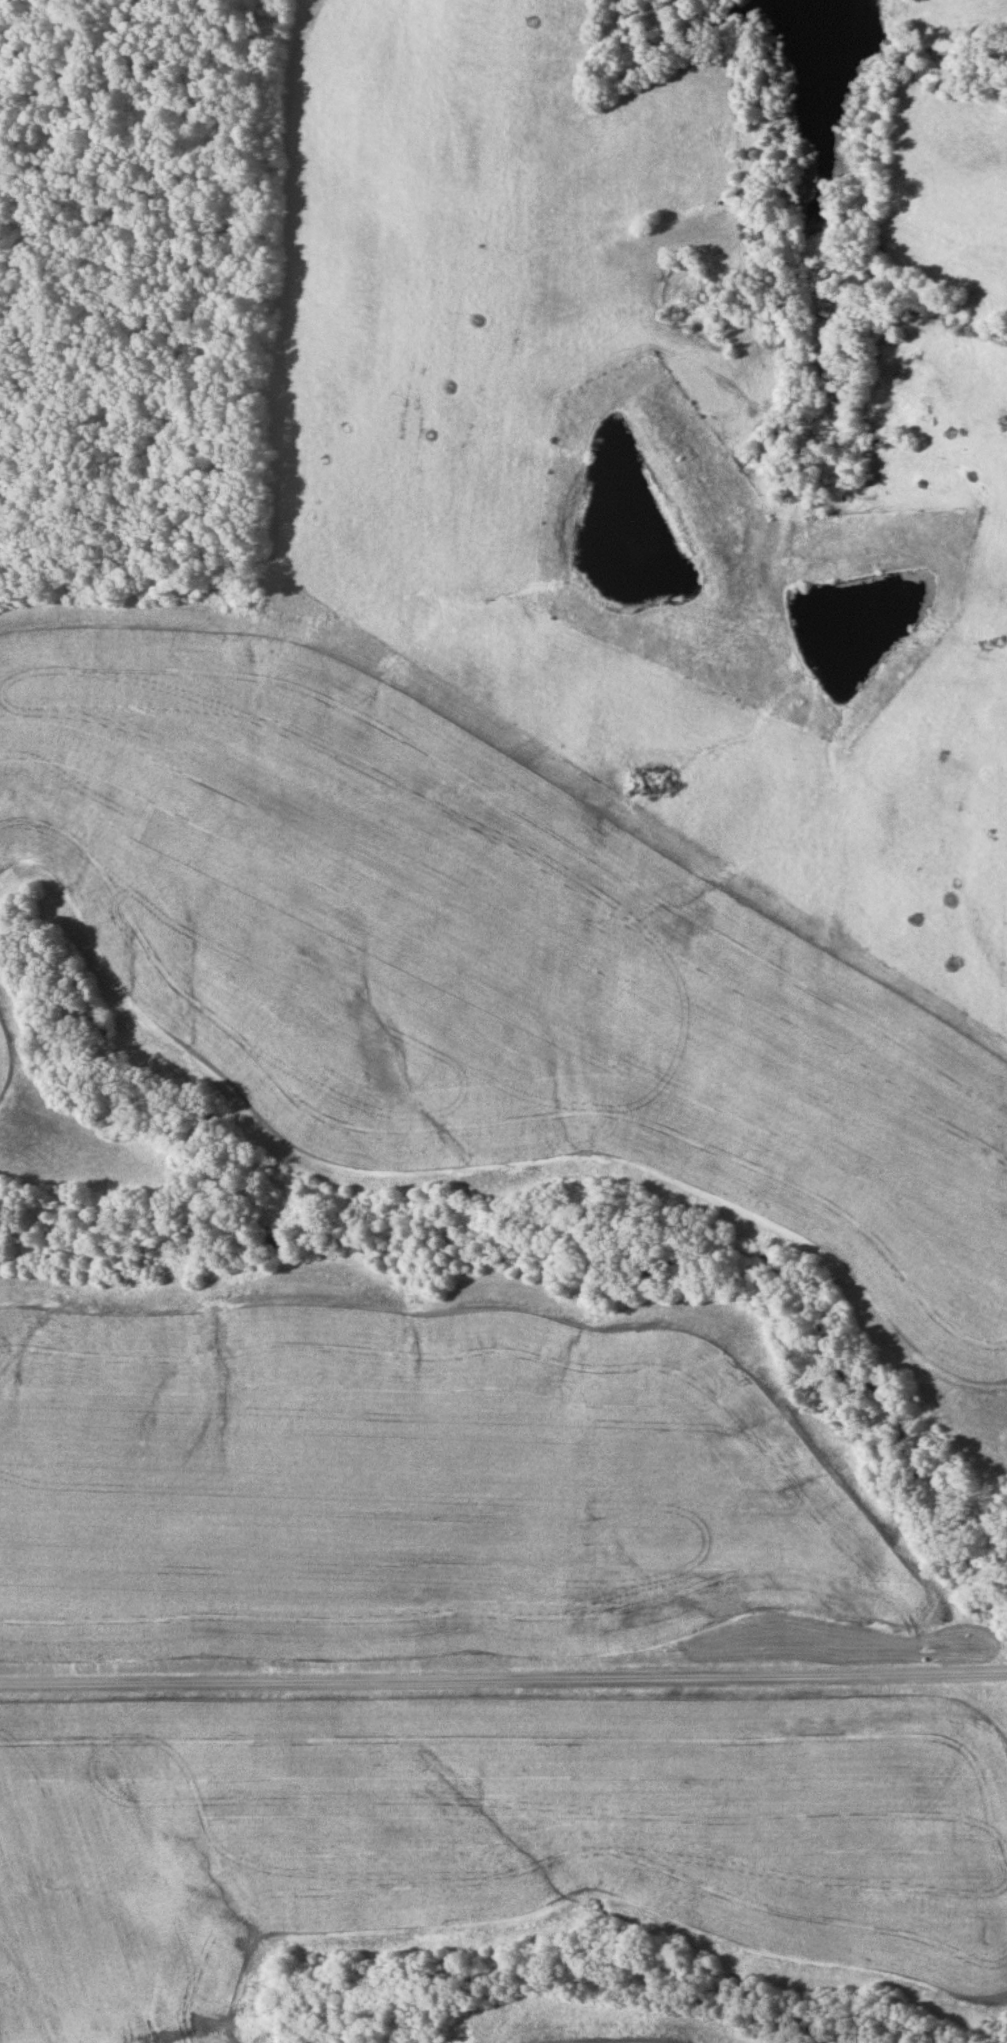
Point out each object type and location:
road: (503, 1684)

